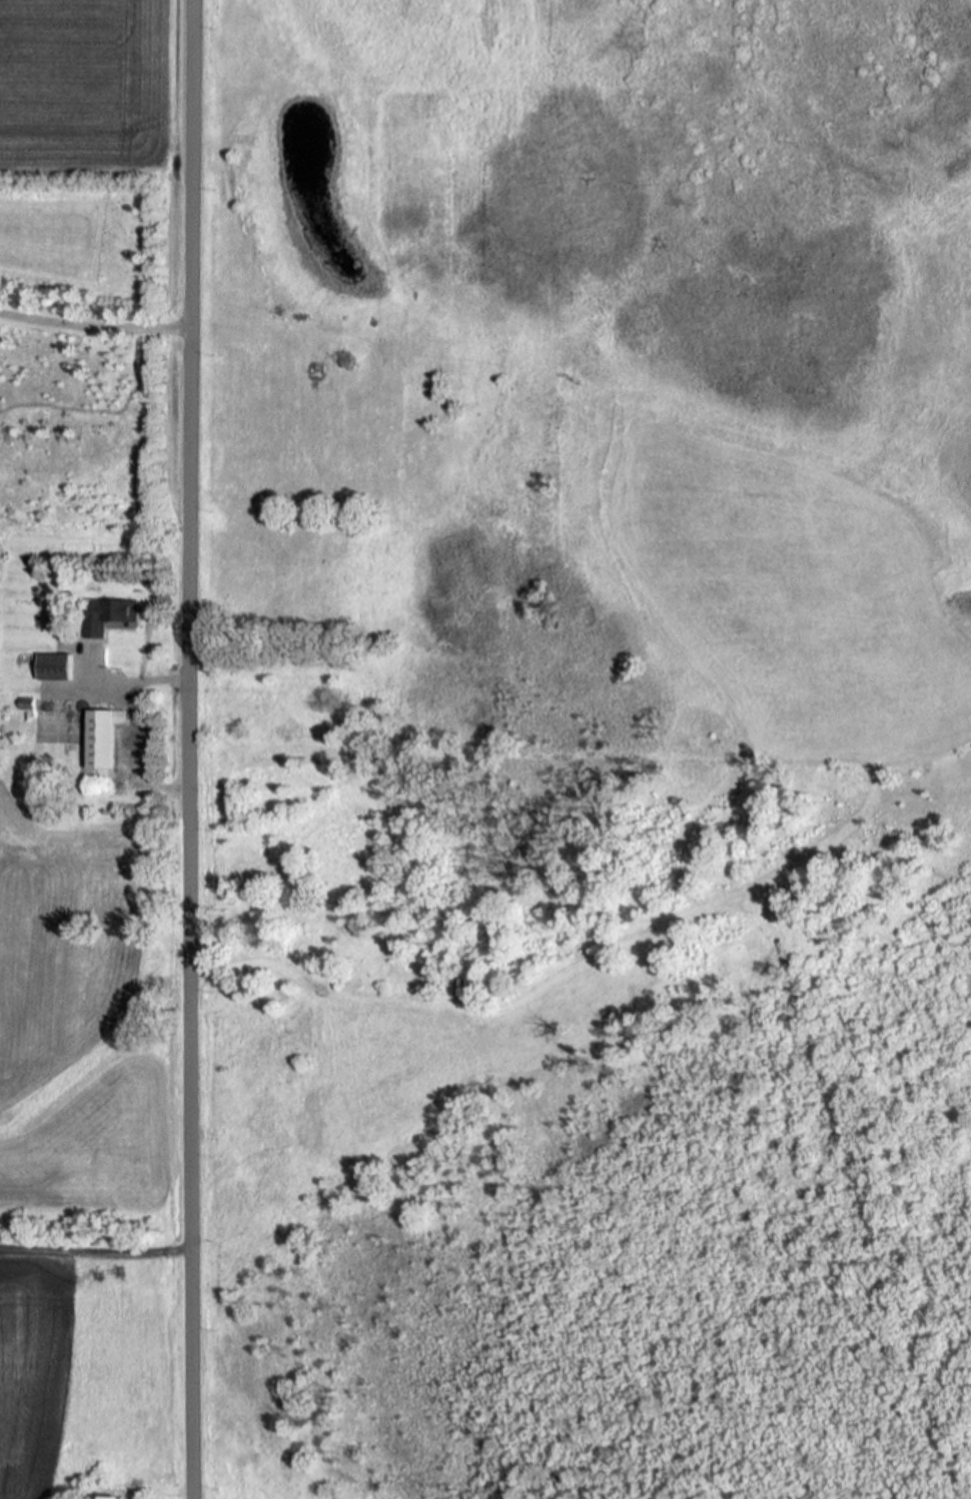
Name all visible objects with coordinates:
road: (95, 317)
building: (297, 317)
building: (345, 364)
building: (109, 617)
building: (57, 669)
road: (134, 676)
building: (106, 740)
road: (189, 749)
building: (835, 863)
building: (464, 985)
building: (120, 1498)

